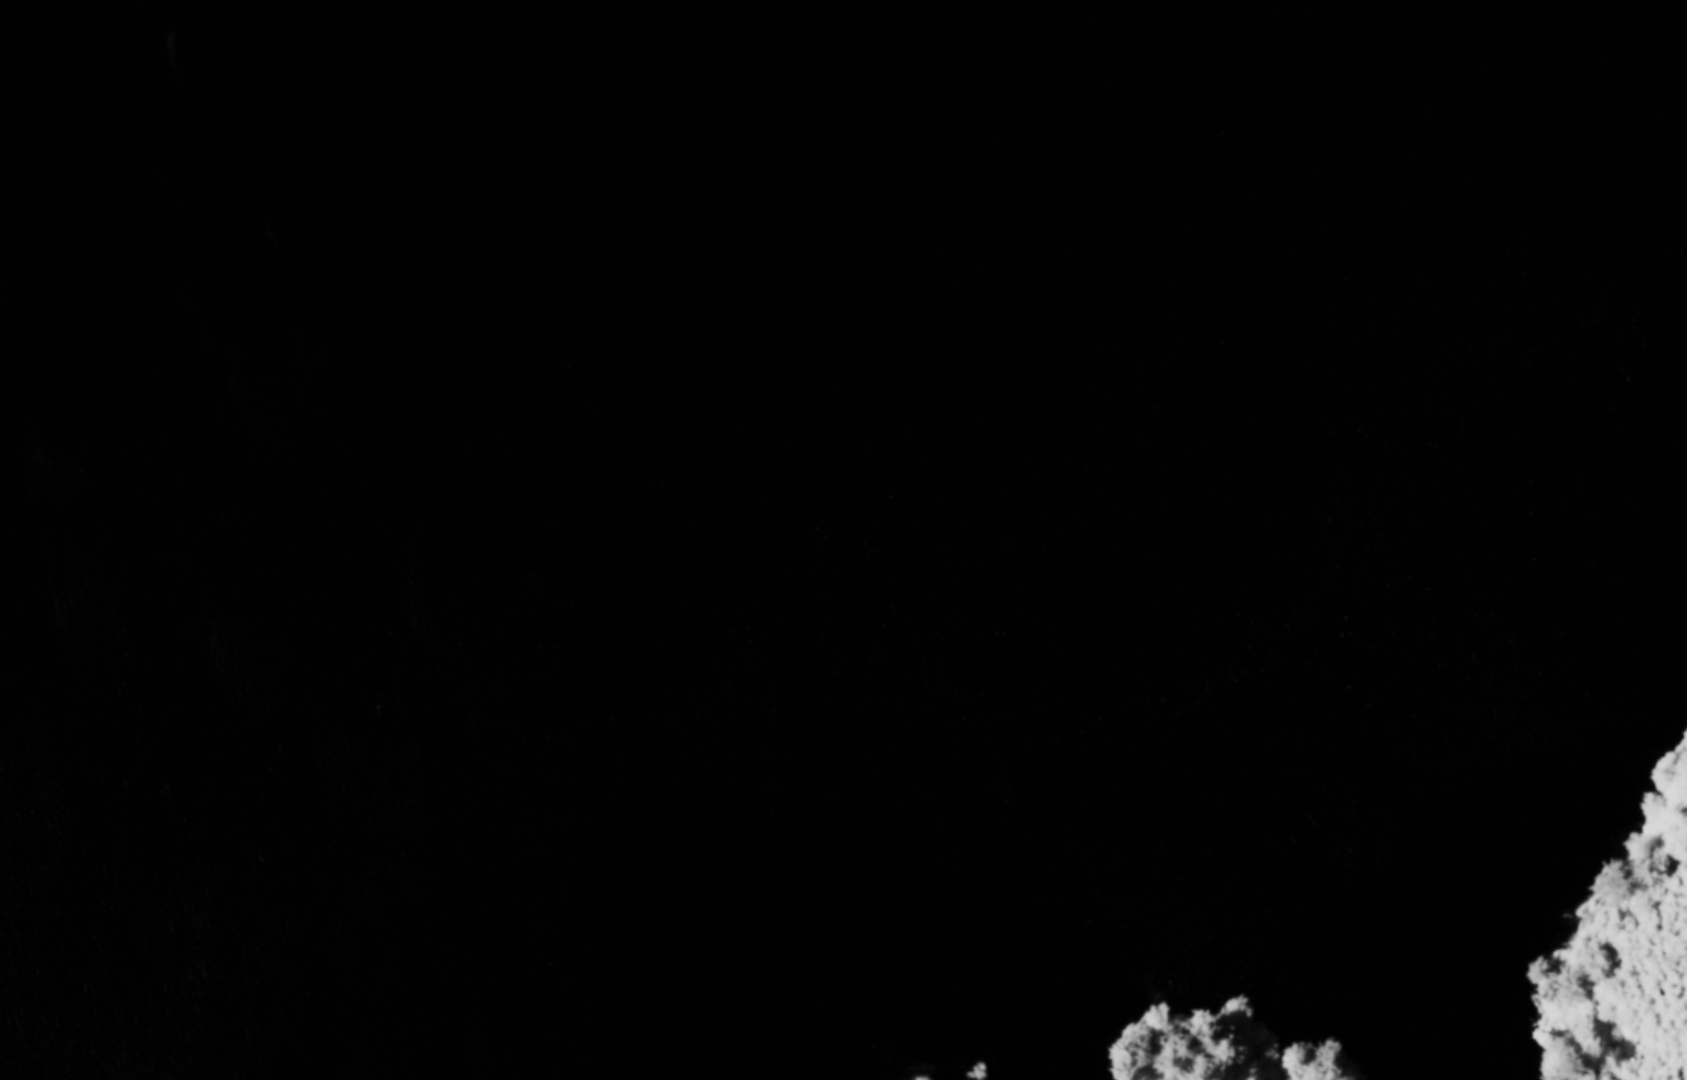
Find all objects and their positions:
river: (651, 473)

